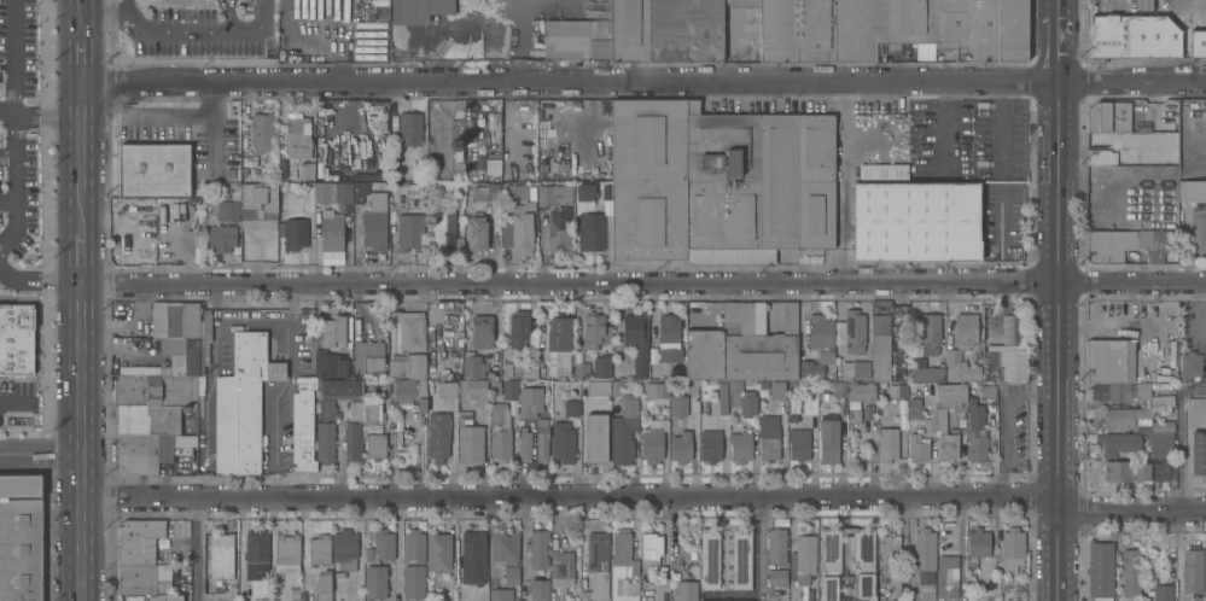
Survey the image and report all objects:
building: (742, 2)
building: (284, 5)
road: (128, 7)
building: (314, 8)
building: (418, 10)
road: (106, 14)
building: (909, 21)
road: (258, 25)
building: (965, 28)
building: (684, 29)
building: (857, 29)
road: (176, 30)
building: (629, 30)
building: (777, 30)
building: (814, 30)
building: (1009, 30)
building: (1131, 36)
building: (600, 37)
road: (518, 39)
building: (565, 39)
building: (1196, 43)
parking lot: (17, 47)
road: (12, 57)
road: (643, 80)
road: (7, 115)
road: (83, 115)
building: (1106, 117)
building: (409, 128)
building: (297, 129)
building: (262, 132)
building: (1190, 138)
building: (647, 139)
building: (719, 145)
building: (814, 146)
road: (16, 150)
building: (298, 153)
building: (1167, 153)
road: (7, 157)
building: (1099, 157)
building: (490, 168)
building: (307, 170)
building: (153, 171)
building: (776, 183)
building: (322, 191)
building: (359, 191)
building: (605, 191)
building: (1170, 191)
building: (1192, 191)
building: (344, 192)
building: (477, 192)
building: (519, 192)
building: (584, 192)
parking lot: (17, 193)
building: (563, 193)
building: (546, 194)
building: (377, 200)
road: (1102, 203)
building: (258, 206)
building: (227, 209)
building: (815, 214)
building: (913, 216)
building: (647, 218)
building: (722, 221)
building: (519, 227)
building: (374, 228)
building: (1198, 228)
building: (331, 229)
building: (558, 229)
building: (444, 231)
building: (592, 231)
building: (295, 232)
building: (409, 232)
building: (477, 233)
building: (221, 237)
building: (1109, 244)
road: (81, 256)
road: (39, 281)
road: (643, 284)
road: (1056, 299)
building: (1205, 317)
building: (182, 320)
building: (907, 320)
building: (412, 329)
building: (518, 329)
building: (853, 329)
building: (965, 329)
building: (333, 331)
building: (482, 331)
building: (930, 332)
building: (206, 333)
building: (558, 333)
building: (593, 334)
building: (669, 337)
building: (16, 339)
building: (636, 339)
building: (171, 345)
building: (757, 345)
building: (817, 345)
building: (880, 346)
building: (1205, 350)
building: (192, 354)
building: (704, 354)
building: (368, 356)
building: (1103, 361)
building: (328, 363)
building: (1190, 363)
building: (408, 364)
building: (472, 364)
building: (563, 364)
building: (601, 366)
building: (960, 366)
building: (1003, 366)
building: (860, 368)
building: (138, 369)
building: (525, 369)
building: (582, 369)
building: (1205, 370)
building: (926, 372)
road: (209, 375)
building: (474, 386)
road: (1193, 386)
building: (152, 389)
road: (276, 389)
building: (339, 389)
building: (509, 389)
building: (776, 389)
building: (657, 390)
building: (896, 390)
building: (986, 390)
building: (410, 391)
building: (734, 391)
building: (861, 391)
building: (950, 393)
building: (1119, 393)
parking lot: (17, 399)
building: (722, 399)
building: (530, 401)
building: (1160, 401)
road: (16, 402)
building: (747, 403)
building: (241, 404)
building: (677, 404)
building: (1195, 404)
building: (303, 407)
building: (571, 407)
building: (913, 407)
building: (325, 408)
building: (355, 410)
building: (373, 413)
building: (852, 413)
building: (974, 413)
building: (1124, 416)
building: (148, 419)
building: (595, 419)
building: (769, 425)
building: (1160, 426)
building: (624, 430)
building: (500, 433)
building: (437, 436)
building: (828, 437)
building: (542, 438)
road: (78, 440)
building: (653, 440)
building: (324, 442)
building: (353, 442)
building: (563, 442)
building: (470, 443)
building: (798, 443)
building: (886, 443)
building: (1118, 443)
building: (525, 444)
building: (975, 444)
building: (375, 445)
building: (710, 445)
building: (740, 445)
building: (946, 445)
building: (1159, 445)
building: (681, 447)
building: (917, 447)
road: (1179, 448)
building: (768, 449)
building: (148, 450)
building: (302, 451)
building: (1196, 454)
road: (39, 455)
building: (1124, 471)
building: (1161, 471)
road: (642, 497)
building: (21, 537)
building: (139, 539)
building: (1012, 543)
building: (414, 544)
building: (776, 544)
building: (977, 544)
building: (286, 545)
building: (380, 545)
building: (505, 545)
building: (621, 547)
building: (257, 549)
building: (319, 549)
building: (344, 549)
building: (537, 549)
building: (598, 549)
road: (197, 550)
building: (925, 550)
building: (438, 552)
building: (651, 552)
building: (805, 553)
building: (221, 555)
building: (887, 555)
building: (473, 556)
building: (709, 556)
building: (741, 556)
building: (829, 564)
building: (1205, 565)
building: (634, 566)
building: (560, 568)
building: (1100, 570)
building: (1192, 570)
building: (1130, 572)
building: (511, 574)
building: (776, 576)
building: (946, 576)
building: (144, 578)
building: (375, 582)
building: (413, 582)
building: (324, 585)
building: (538, 589)
building: (686, 590)
building: (1160, 593)
building: (500, 594)
building: (584, 595)
building: (171, 597)
building: (724, 600)

